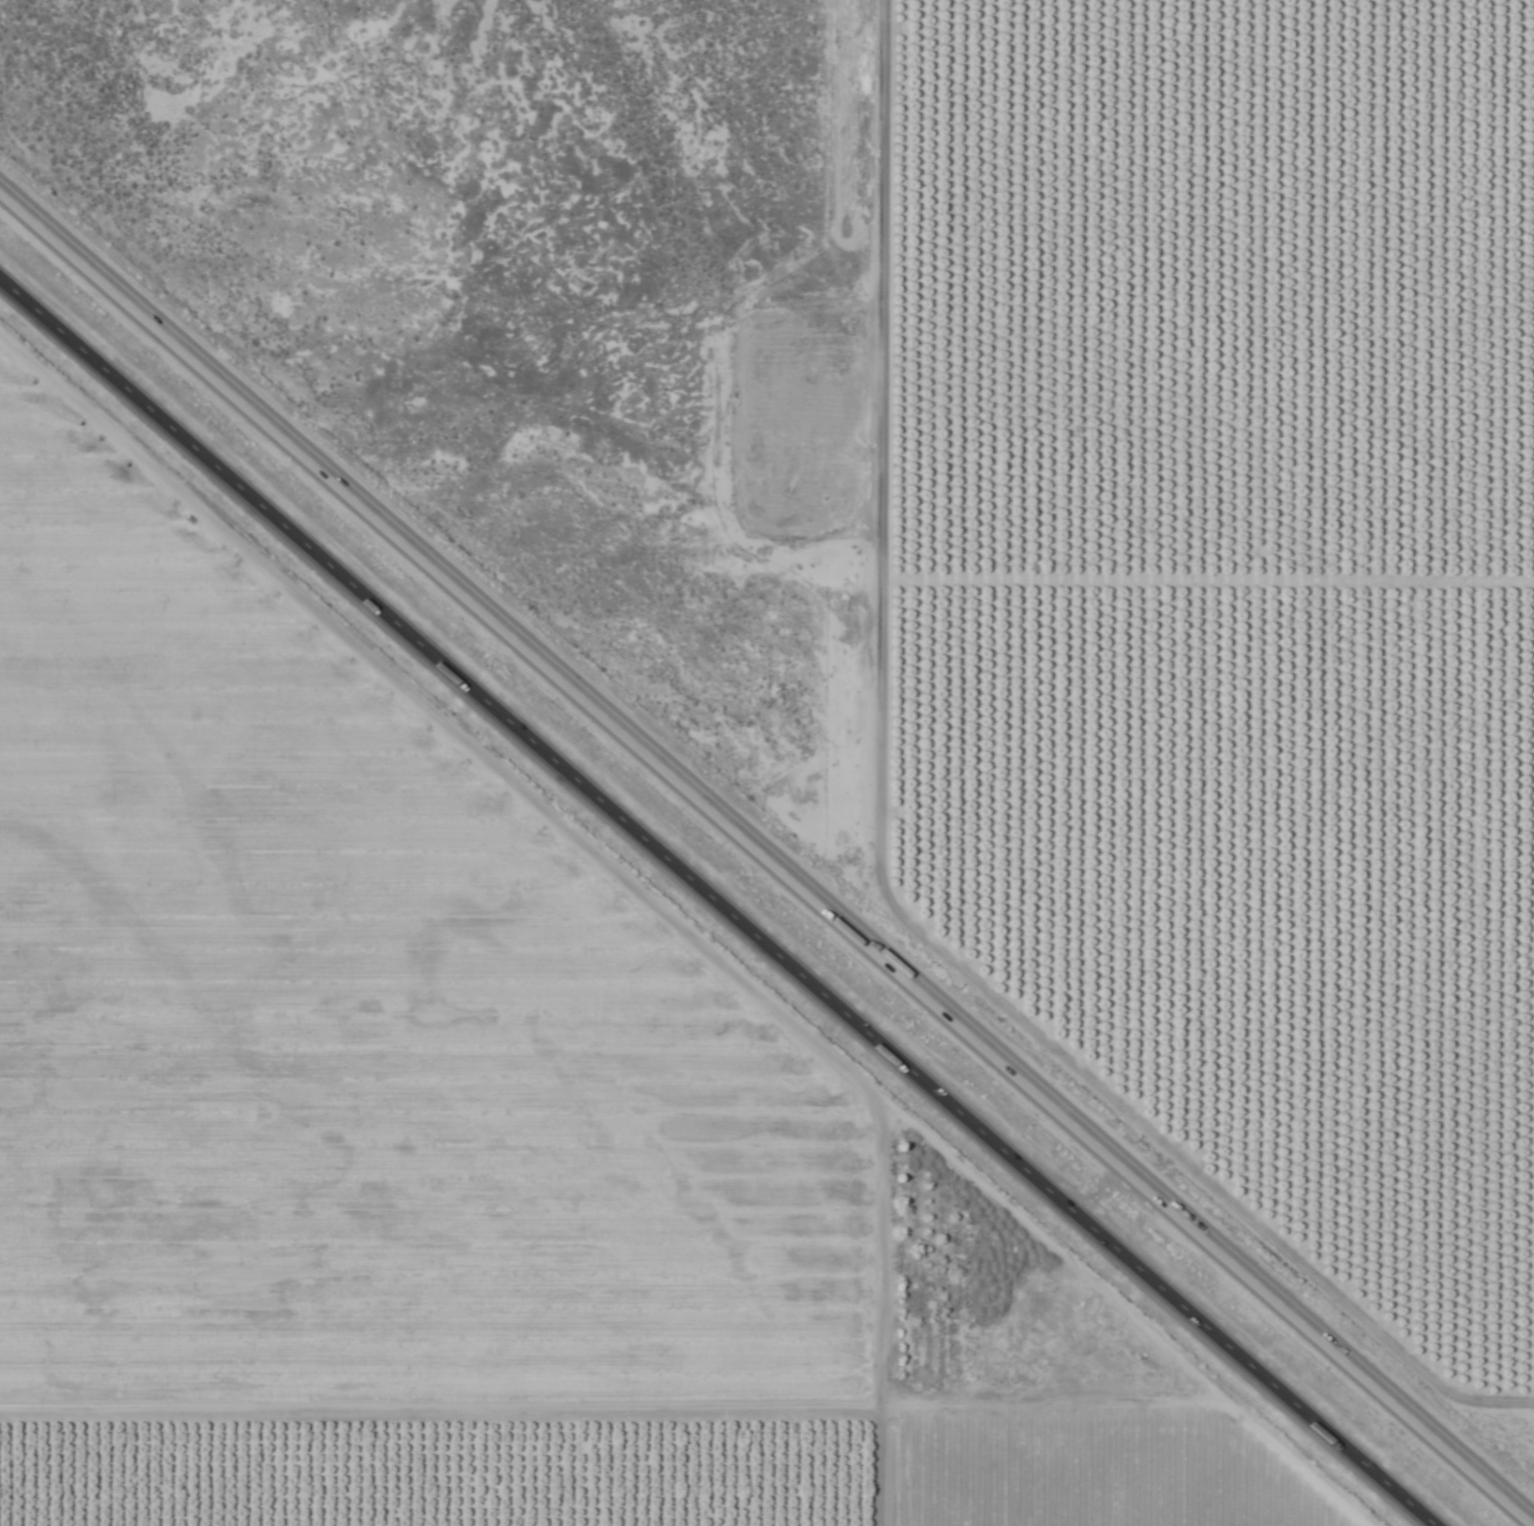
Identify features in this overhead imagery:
building: (794, 514)
building: (829, 514)
crop: (970, 516)
road: (766, 856)
road: (715, 906)
crop: (444, 1139)

